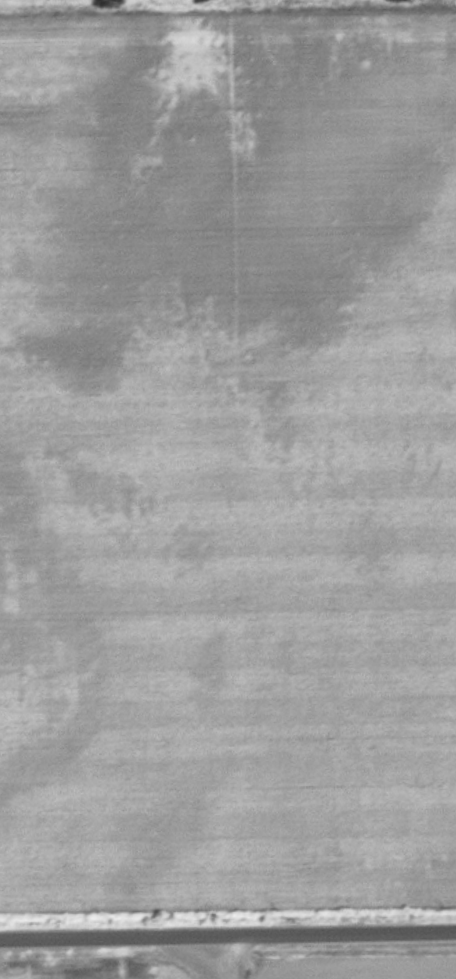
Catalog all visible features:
road: (228, 938)

